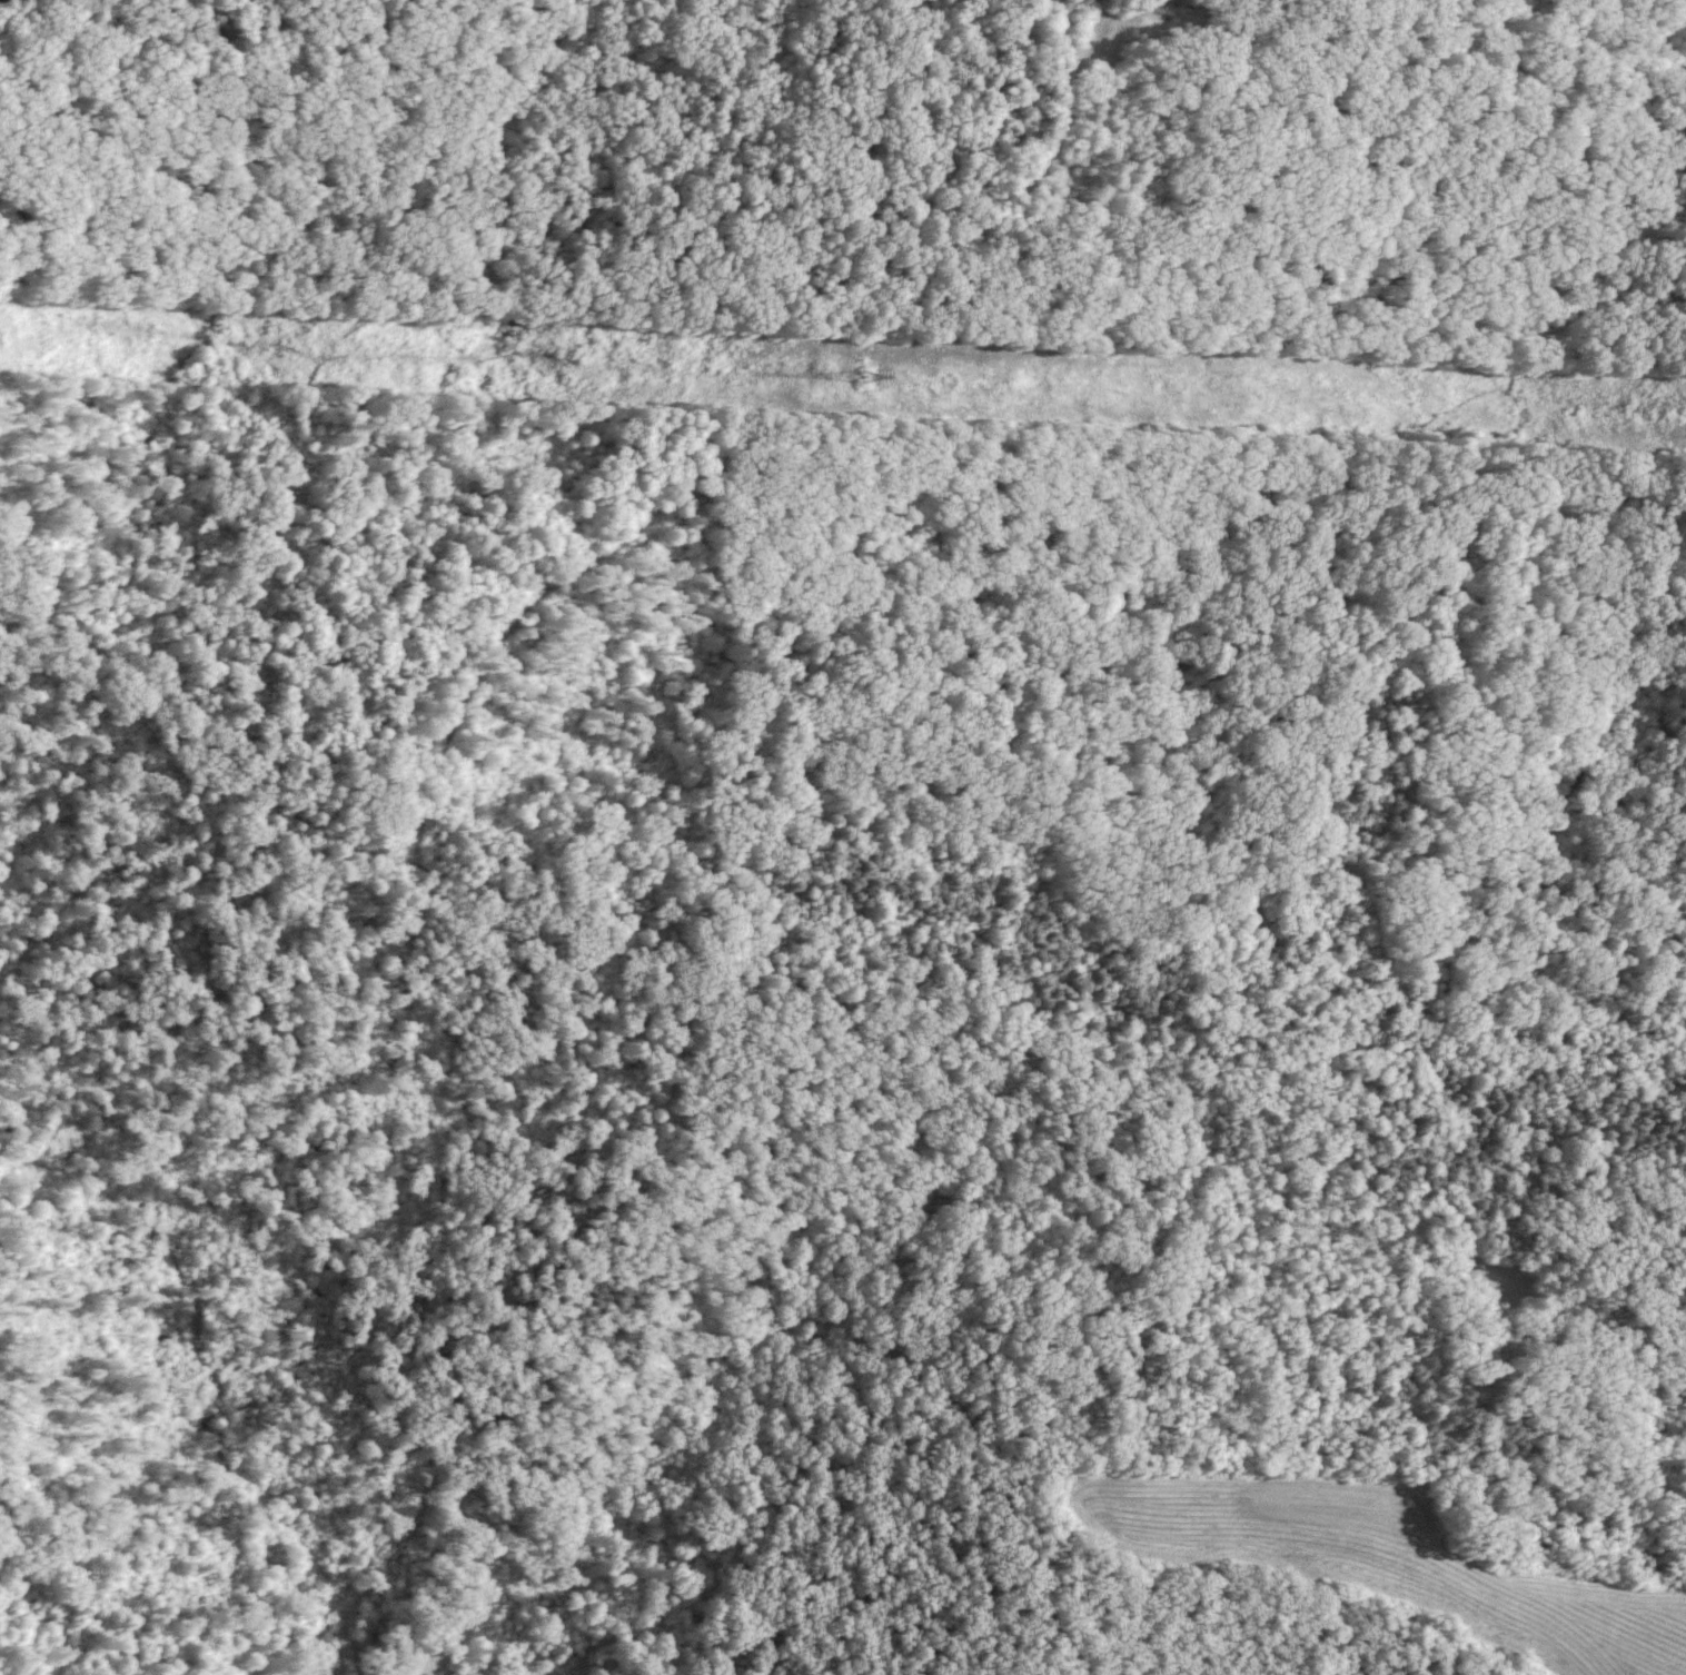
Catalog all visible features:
building: (1196, 2)
power tower: (865, 384)

